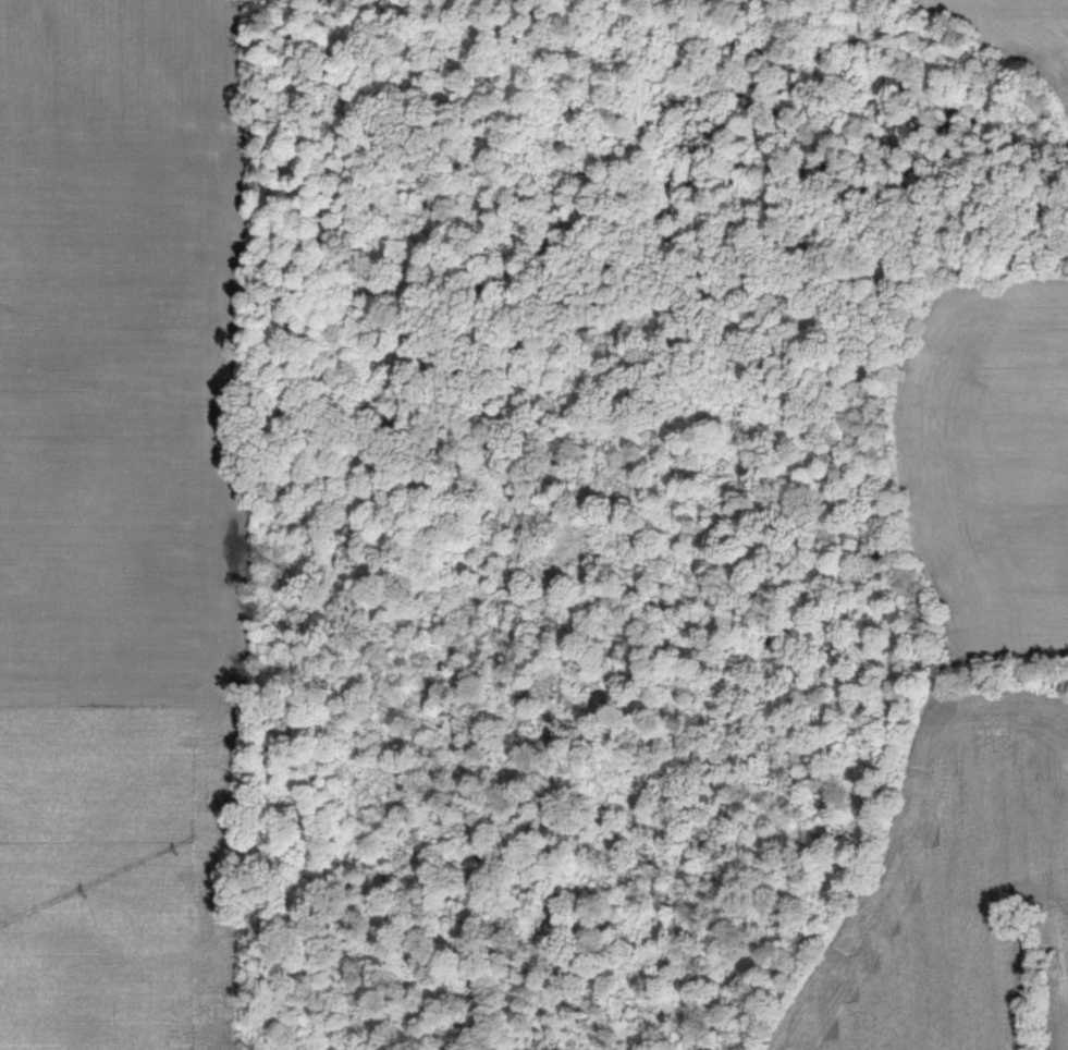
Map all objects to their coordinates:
crop: (1019, 33)
crop: (991, 466)
crop: (122, 520)

